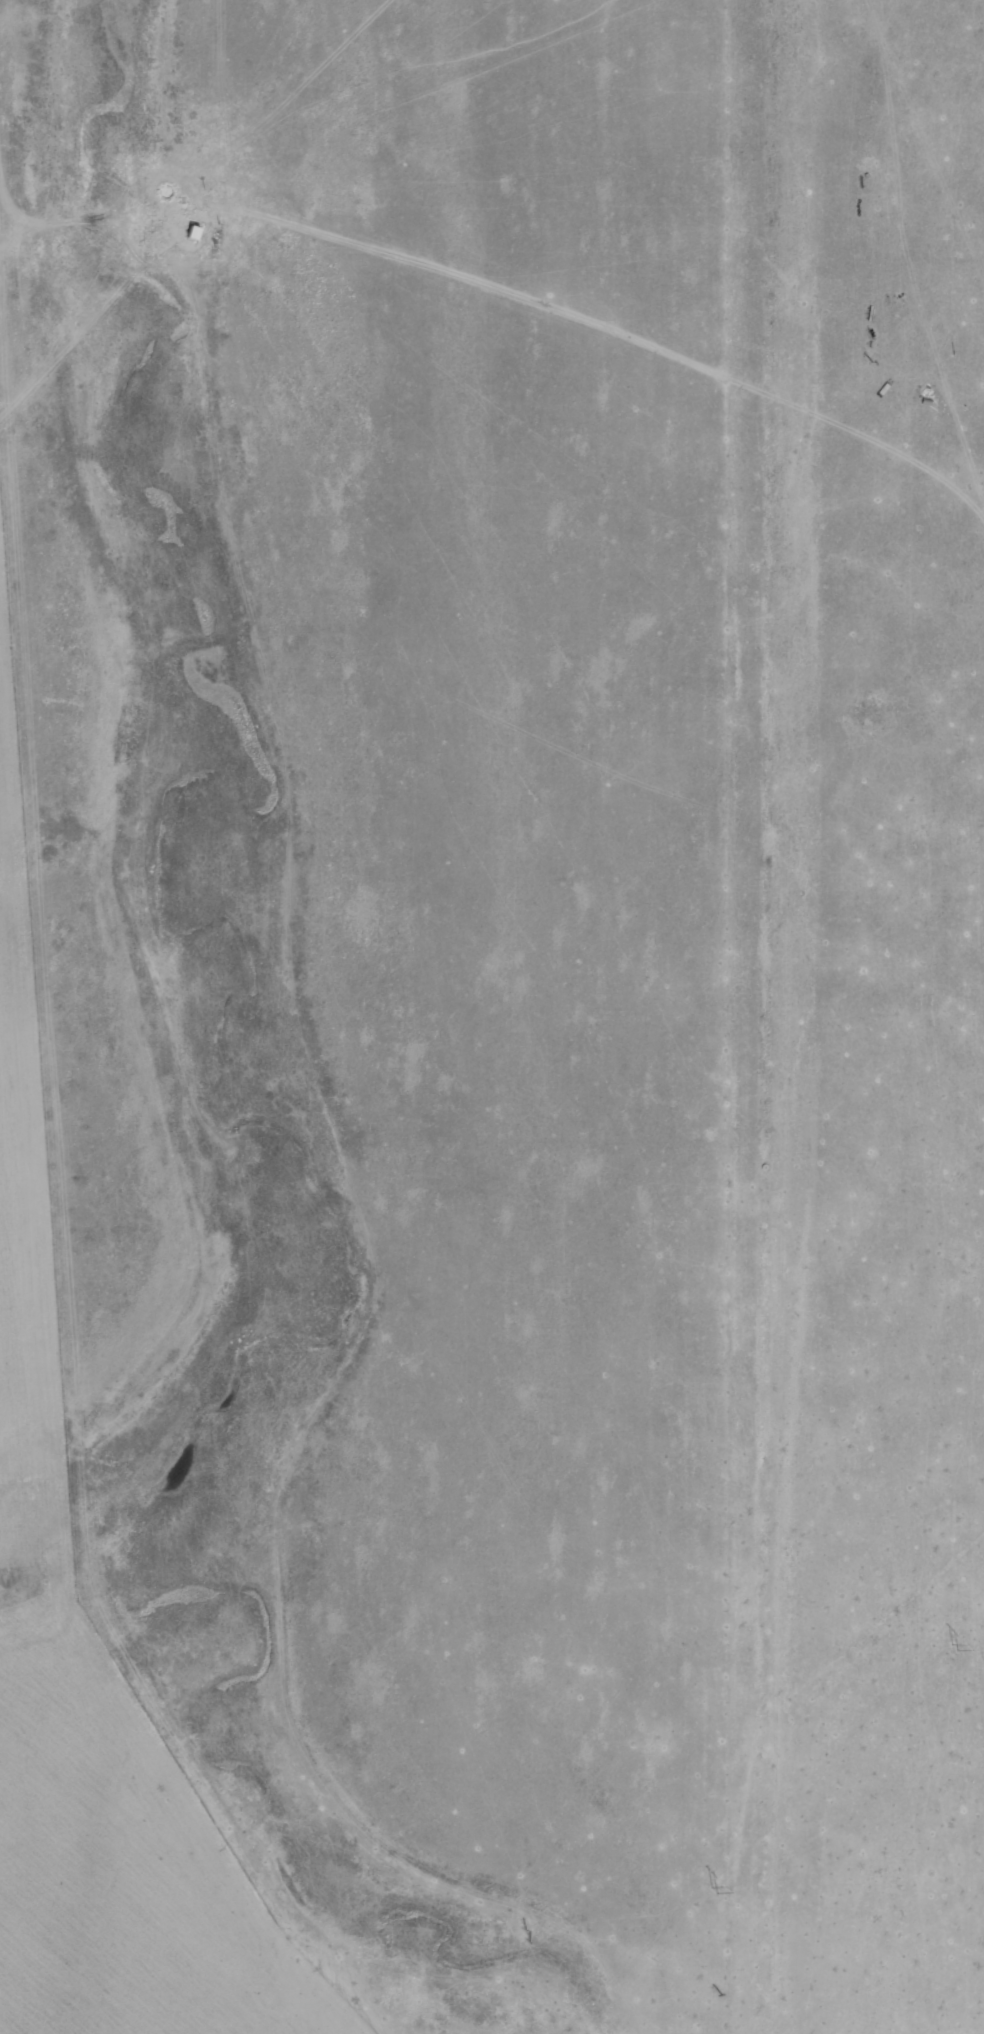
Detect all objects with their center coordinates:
power tower: (954, 1646)
power tower: (713, 1890)

